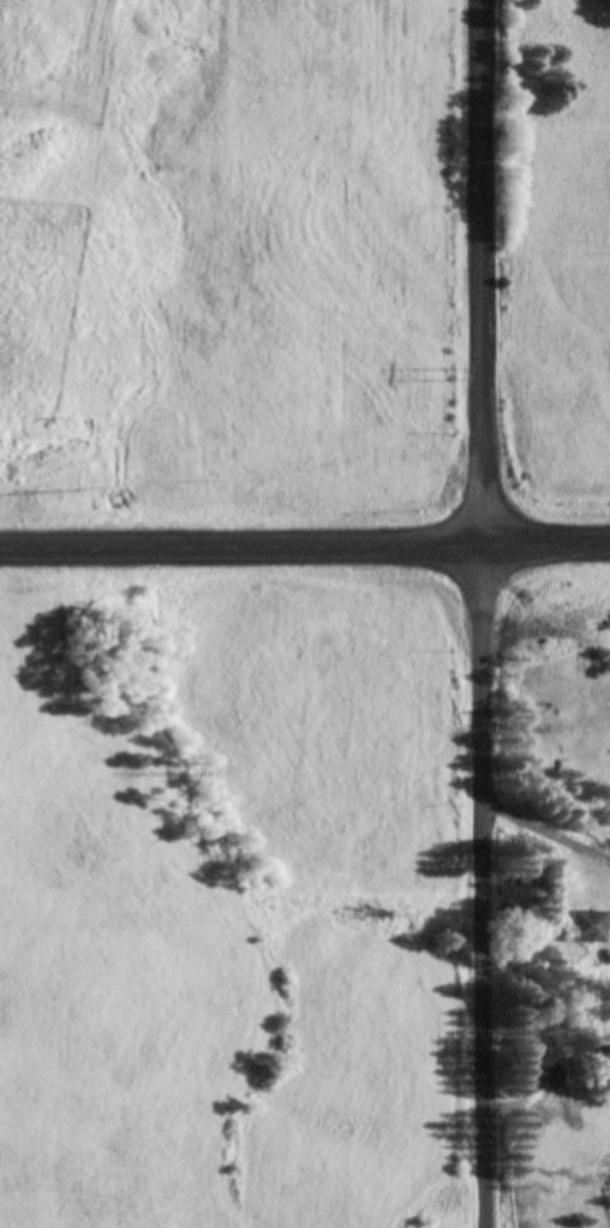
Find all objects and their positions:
crop: (232, 264)
road: (486, 269)
power tower: (444, 368)
road: (304, 541)
road: (486, 883)
building: (581, 926)
building: (546, 1078)
building: (29, 1168)

